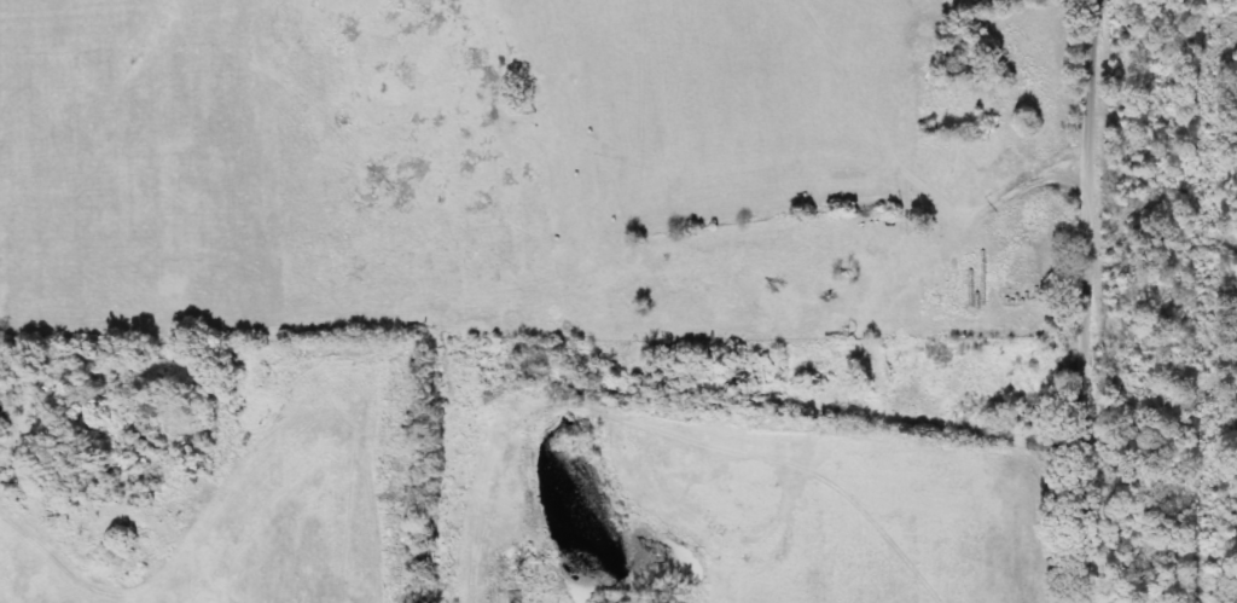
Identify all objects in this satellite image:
road: (1094, 10)
road: (1082, 312)

